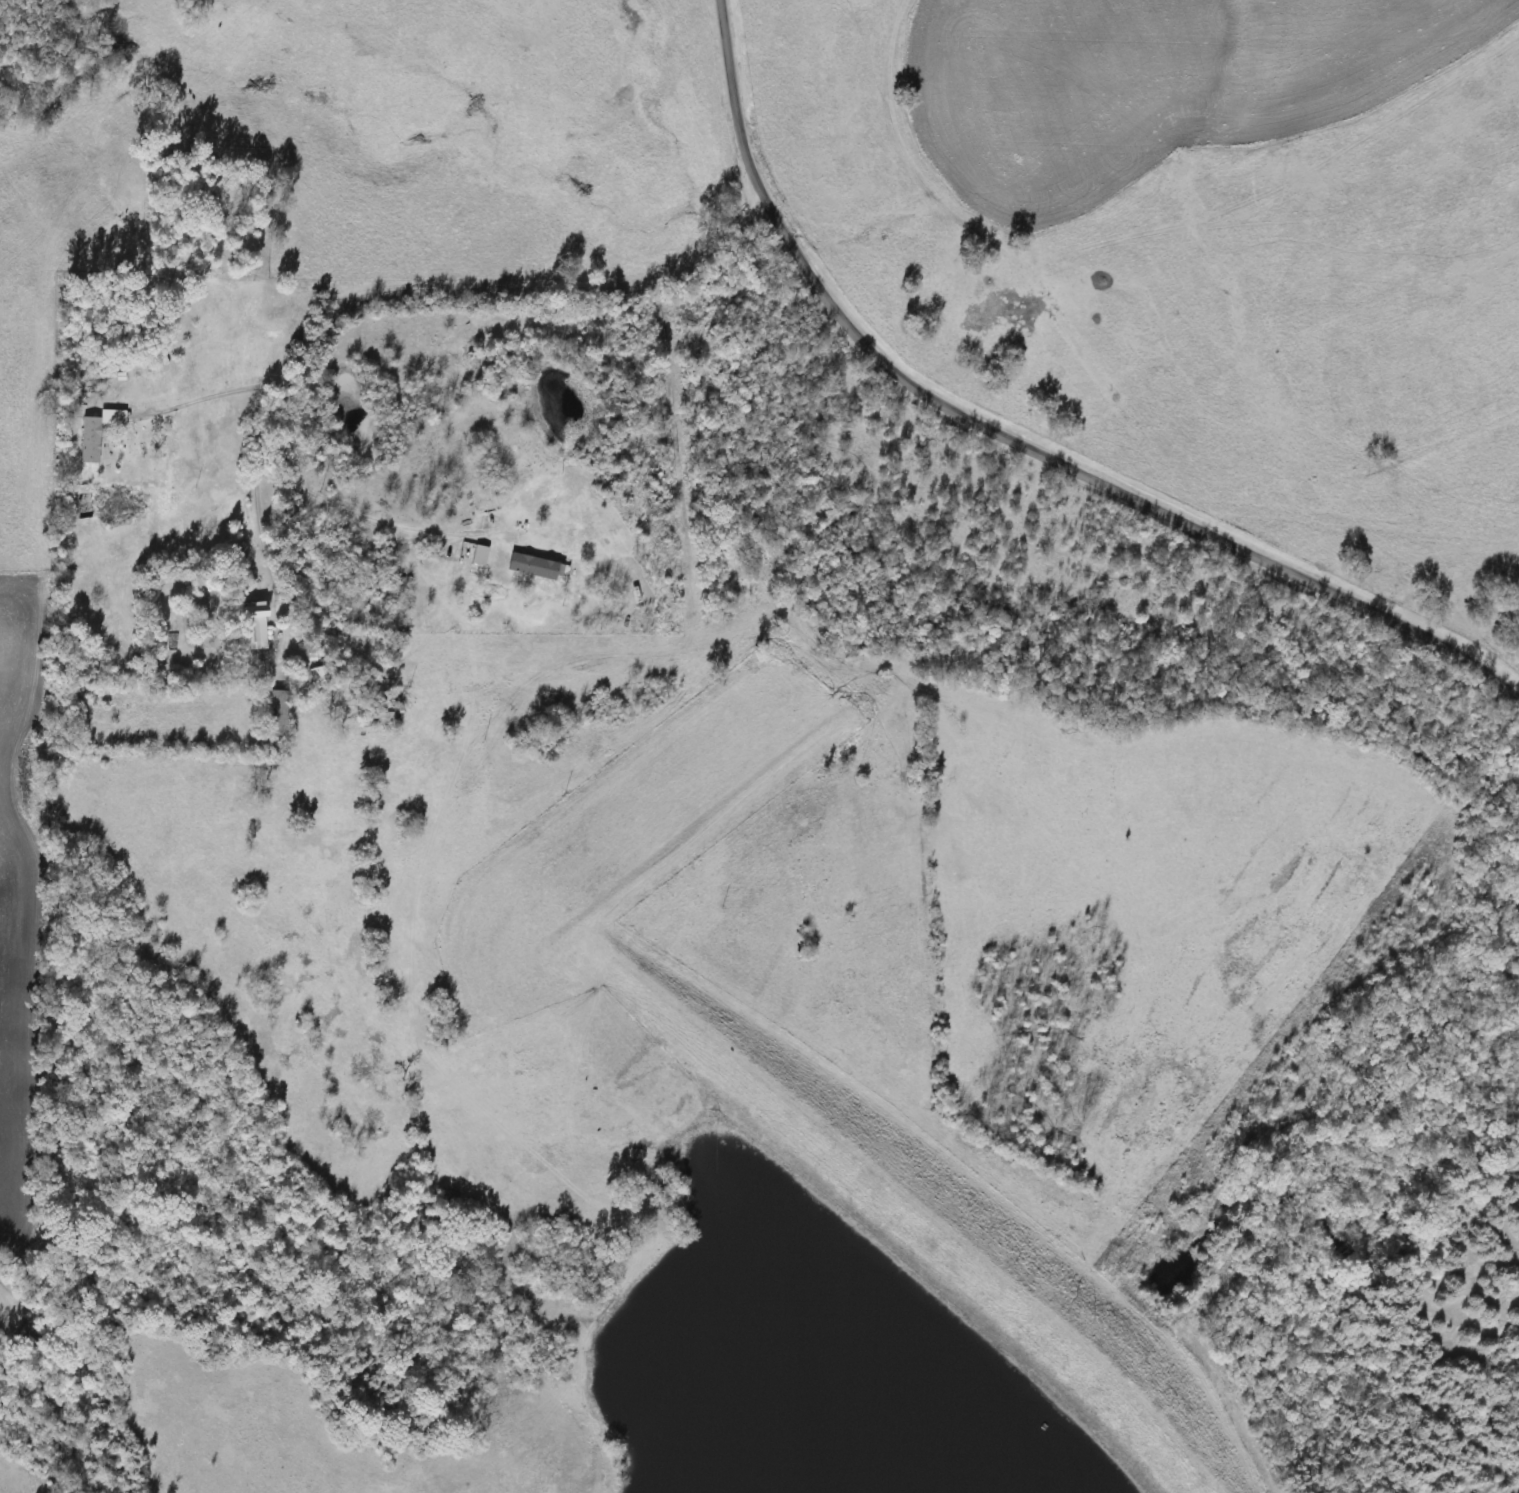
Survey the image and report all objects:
park: (208, 209)
road: (406, 291)
road: (201, 400)
building: (88, 439)
road: (1015, 445)
road: (371, 515)
building: (251, 626)
building: (275, 712)

